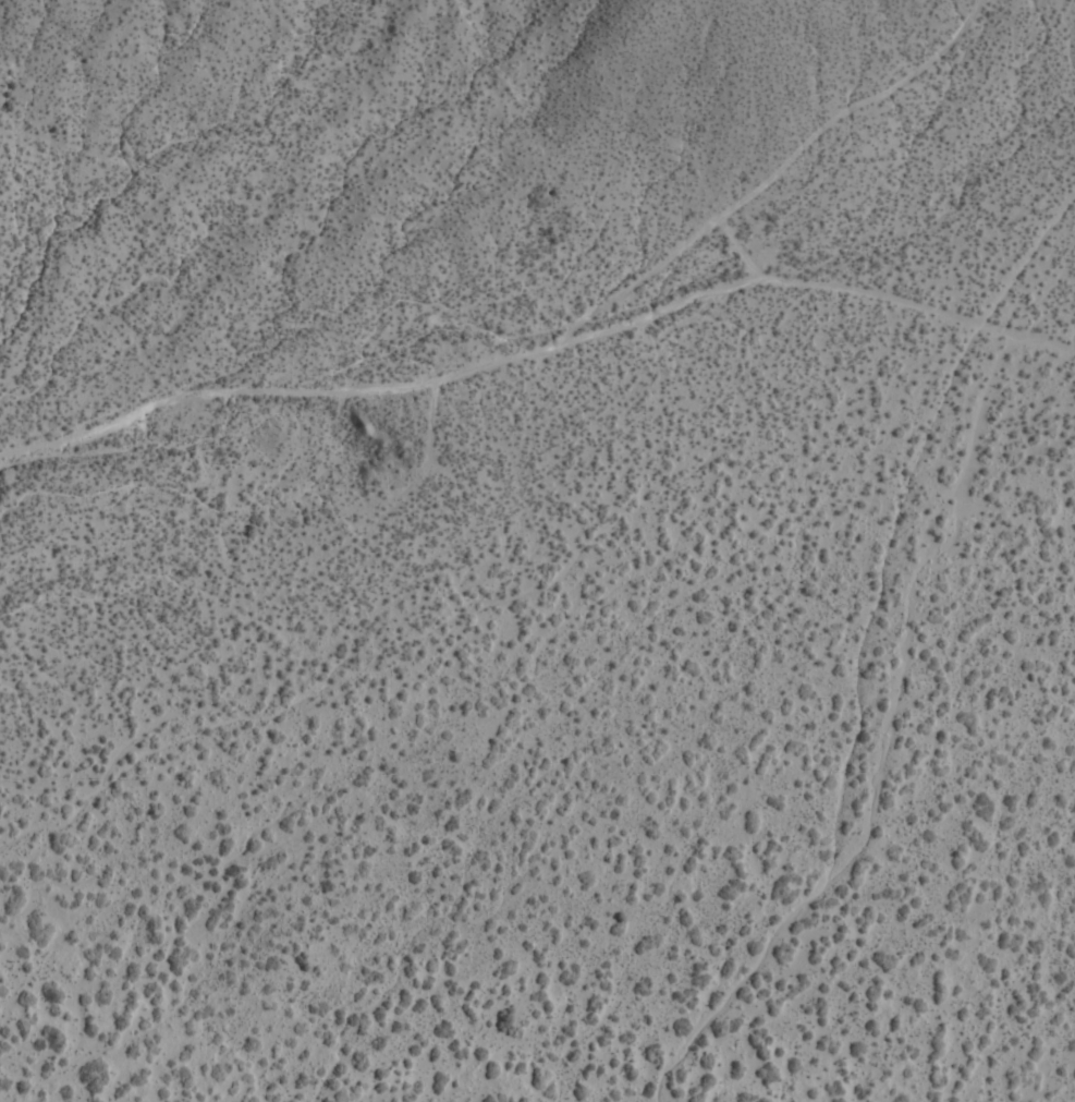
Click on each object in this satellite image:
road: (555, 302)
road: (893, 315)

